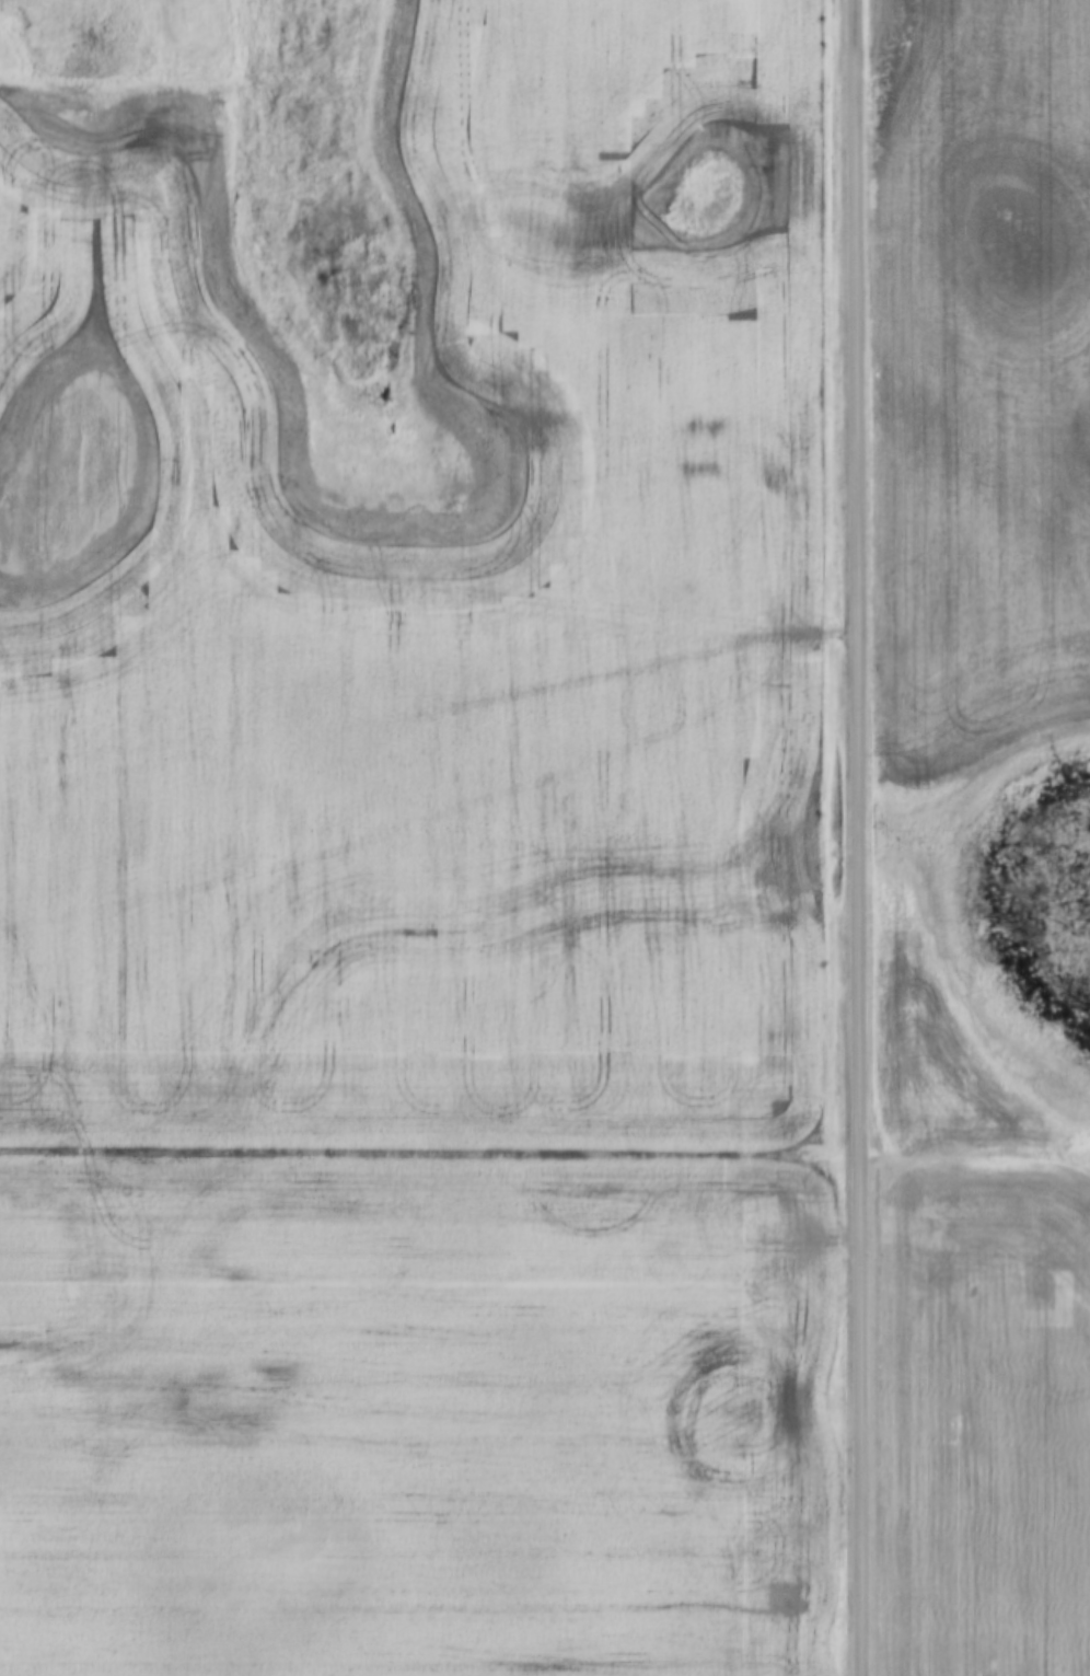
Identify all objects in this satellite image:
road: (860, 837)

